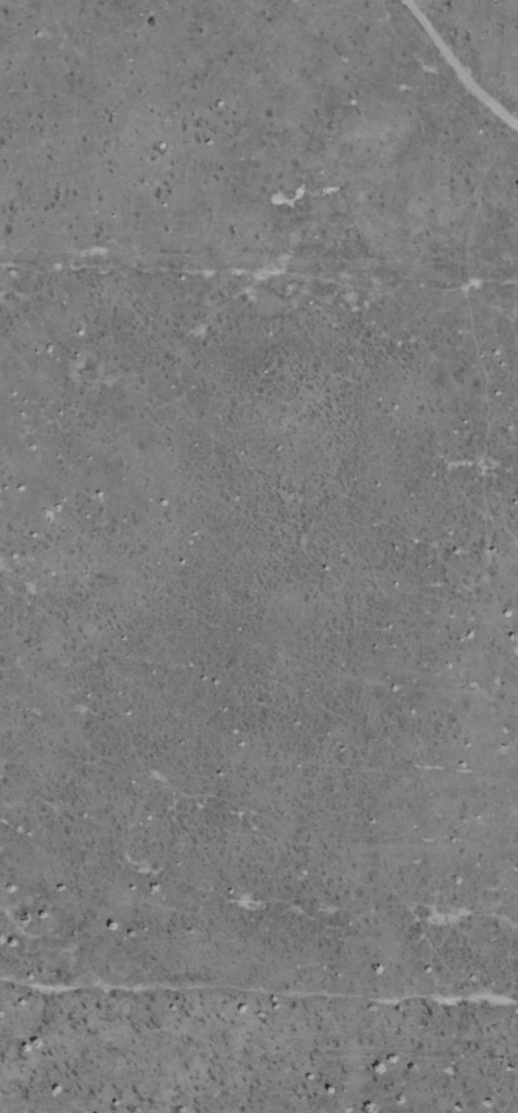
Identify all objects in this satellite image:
road: (437, 72)

